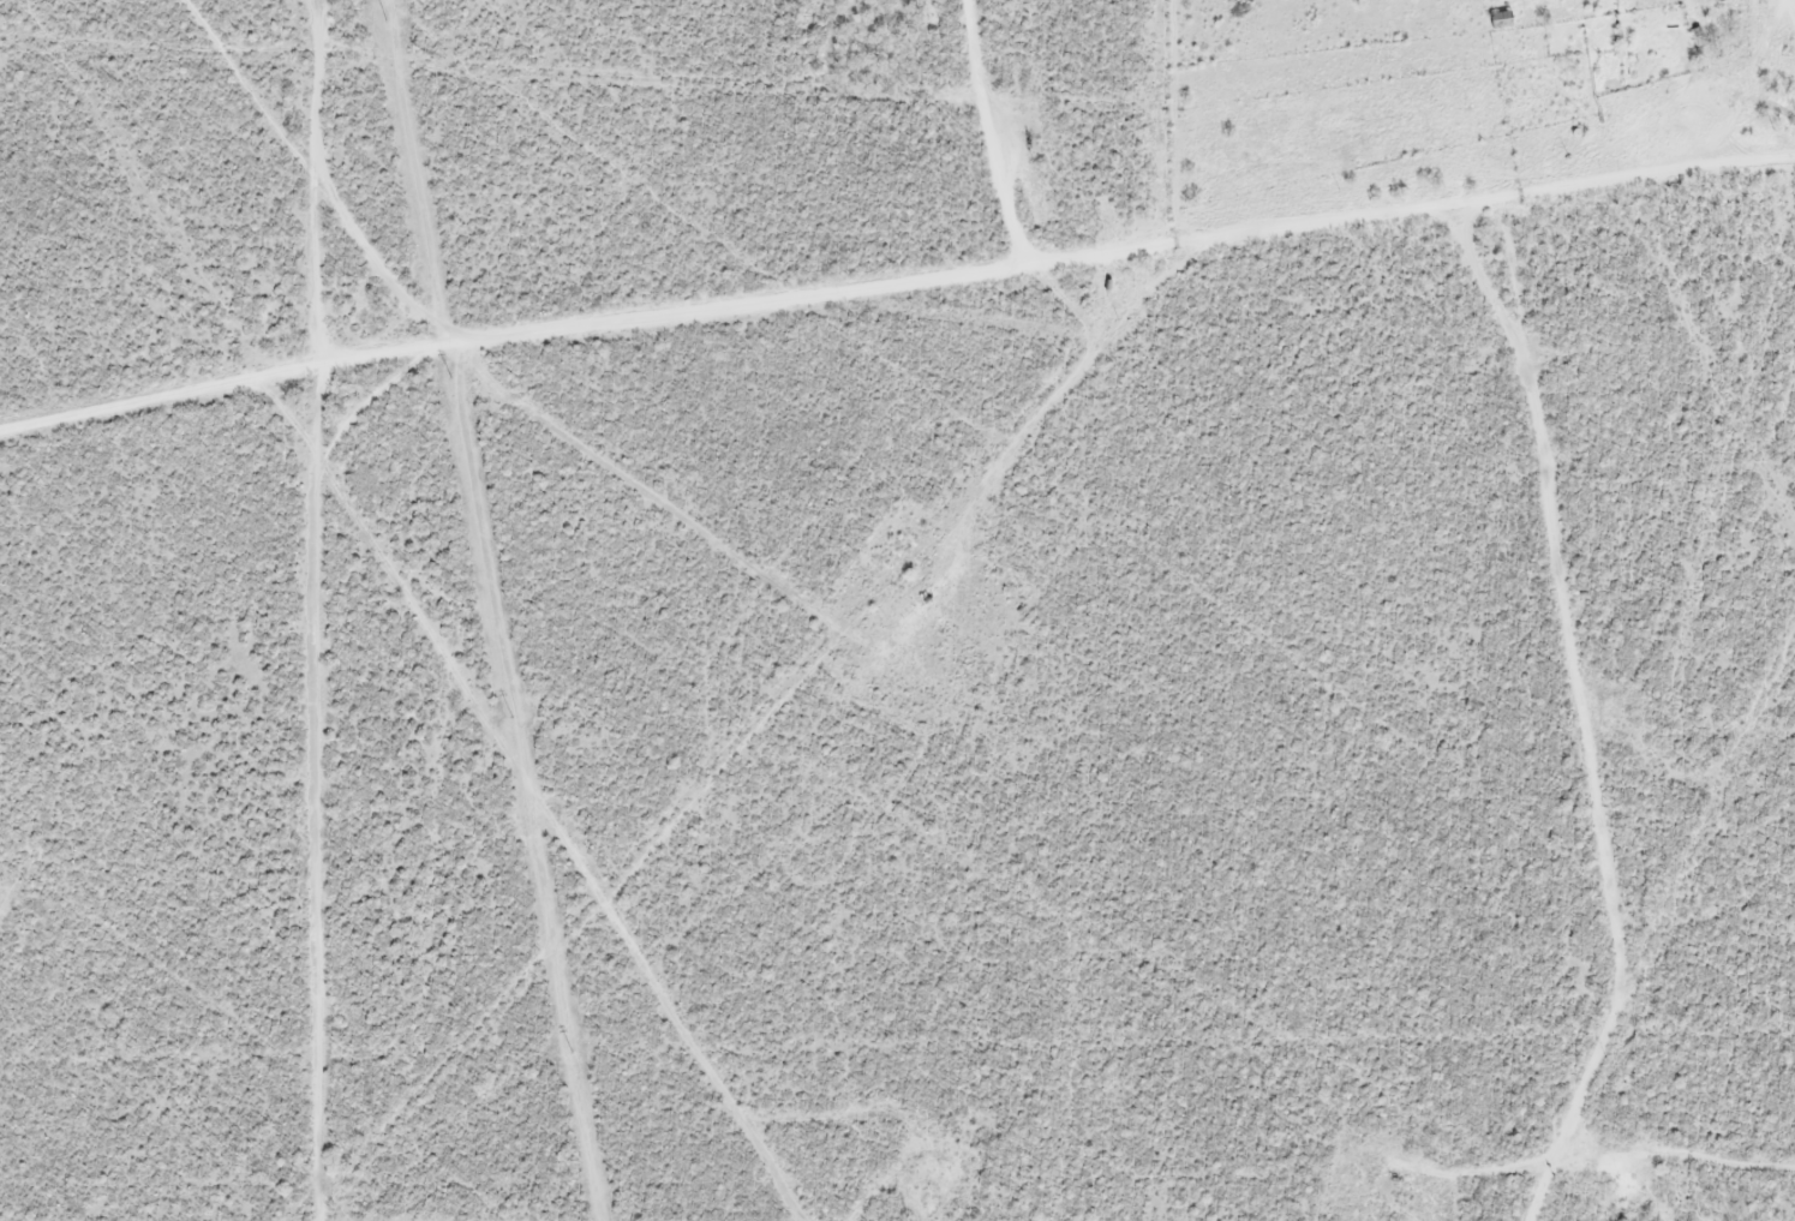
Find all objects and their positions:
power tower: (385, 19)
road: (897, 329)
power tower: (450, 377)
road: (342, 610)
road: (1608, 710)
power tower: (513, 716)
power tower: (574, 1052)

